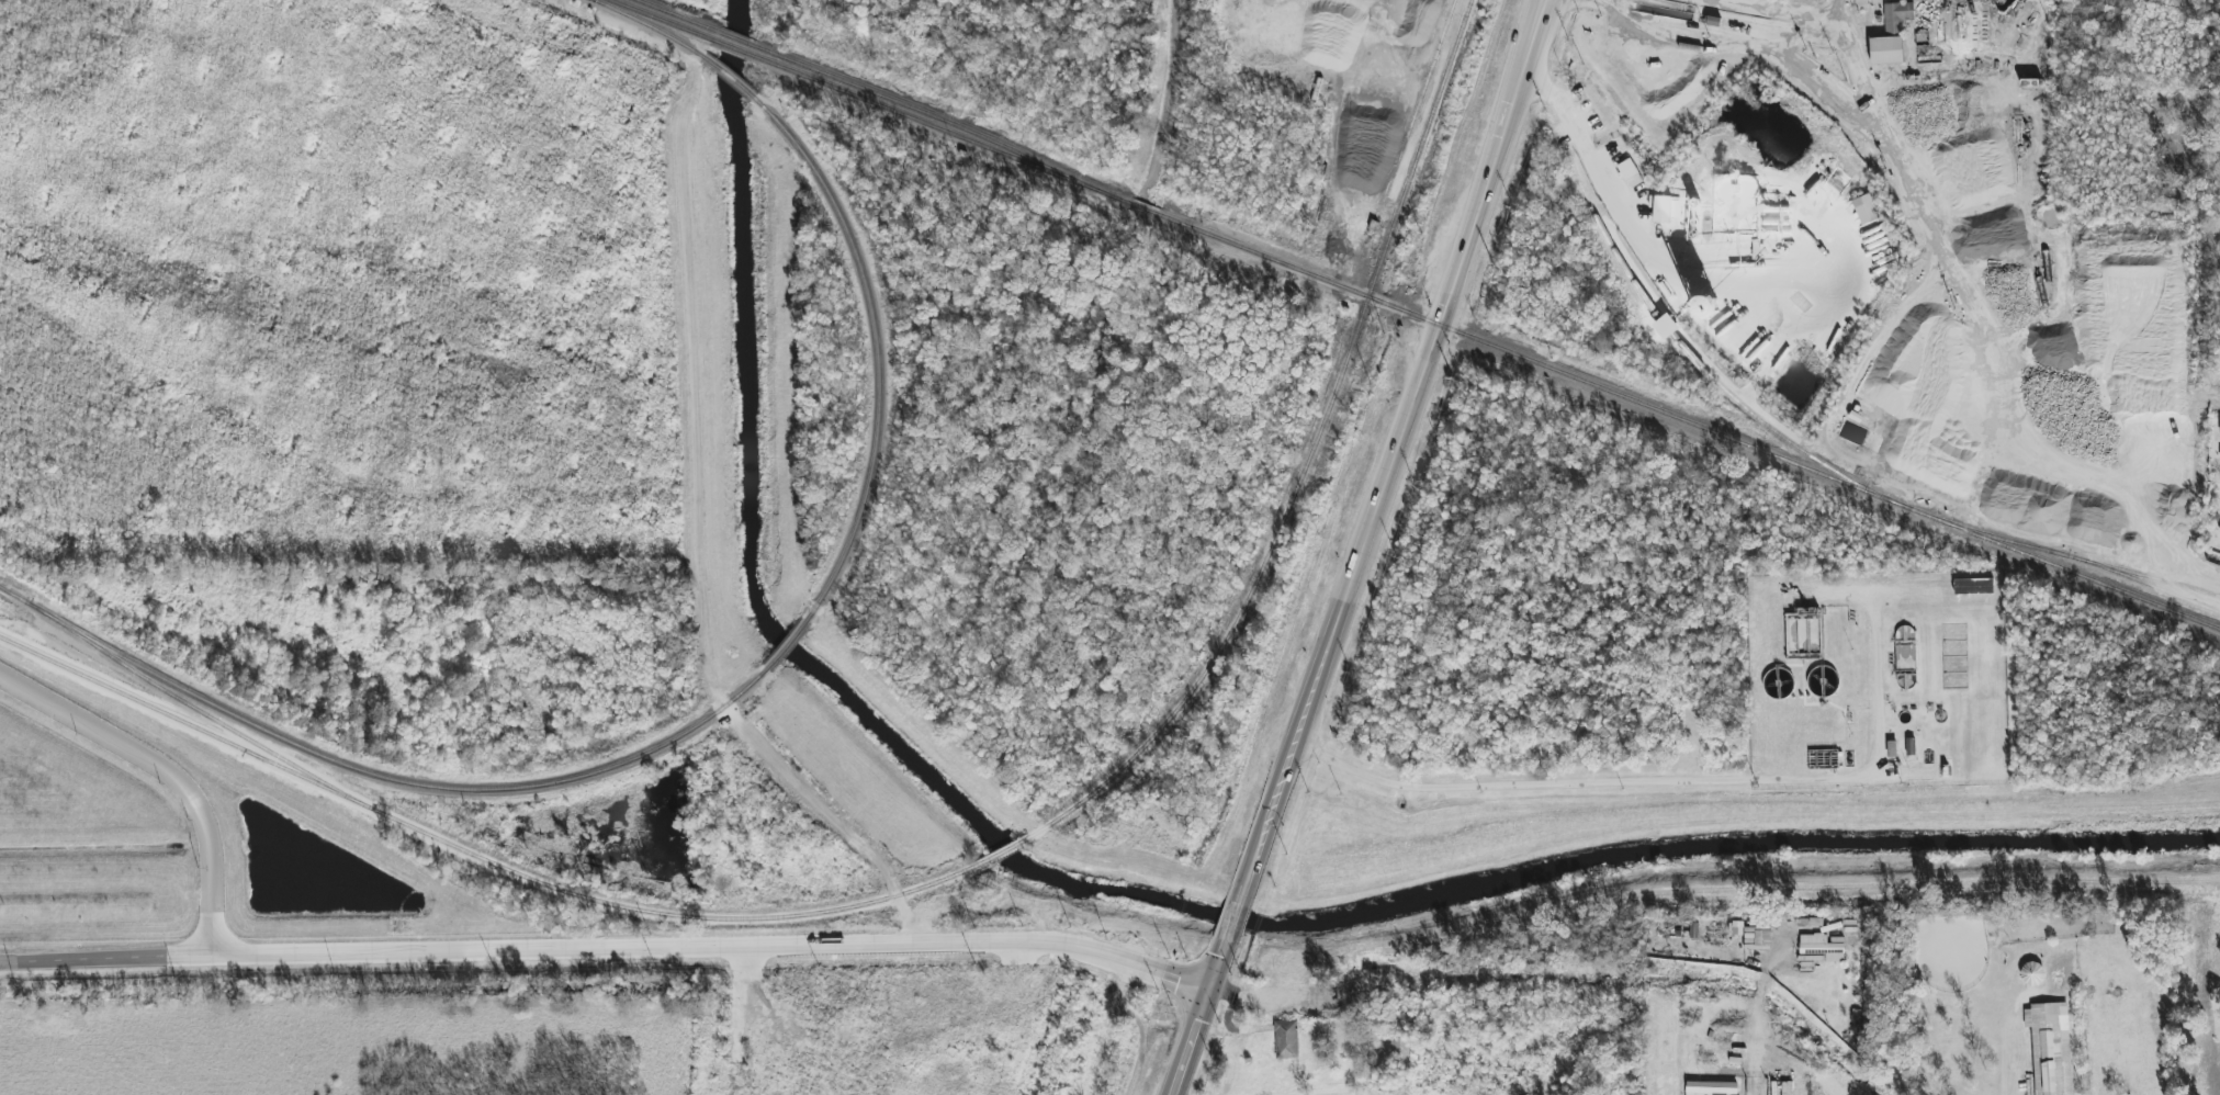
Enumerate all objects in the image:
railway: (674, 18)
building: (1897, 18)
railway: (662, 22)
railway: (650, 27)
road: (1179, 36)
railway: (737, 42)
railway: (737, 50)
building: (1886, 50)
railway: (730, 79)
railway: (950, 126)
railway: (948, 136)
building: (1630, 173)
road: (1607, 176)
building: (1663, 210)
building: (1866, 210)
railway: (1388, 232)
railway: (1254, 253)
road: (1785, 285)
railway: (1463, 335)
railway: (876, 350)
railway: (1687, 350)
building: (2219, 420)
road: (1394, 452)
railway: (1890, 500)
railway: (2114, 572)
railway: (2173, 587)
railway: (12, 594)
railway: (787, 645)
railway: (1203, 677)
road: (168, 774)
railway: (392, 779)
road: (1671, 783)
railway: (1005, 853)
railway: (475, 859)
road: (1232, 924)
road: (607, 948)
building: (1822, 948)
building: (2032, 974)
road: (1759, 991)
road: (1197, 1019)
building: (1286, 1039)
building: (2050, 1047)
building: (1712, 1088)

